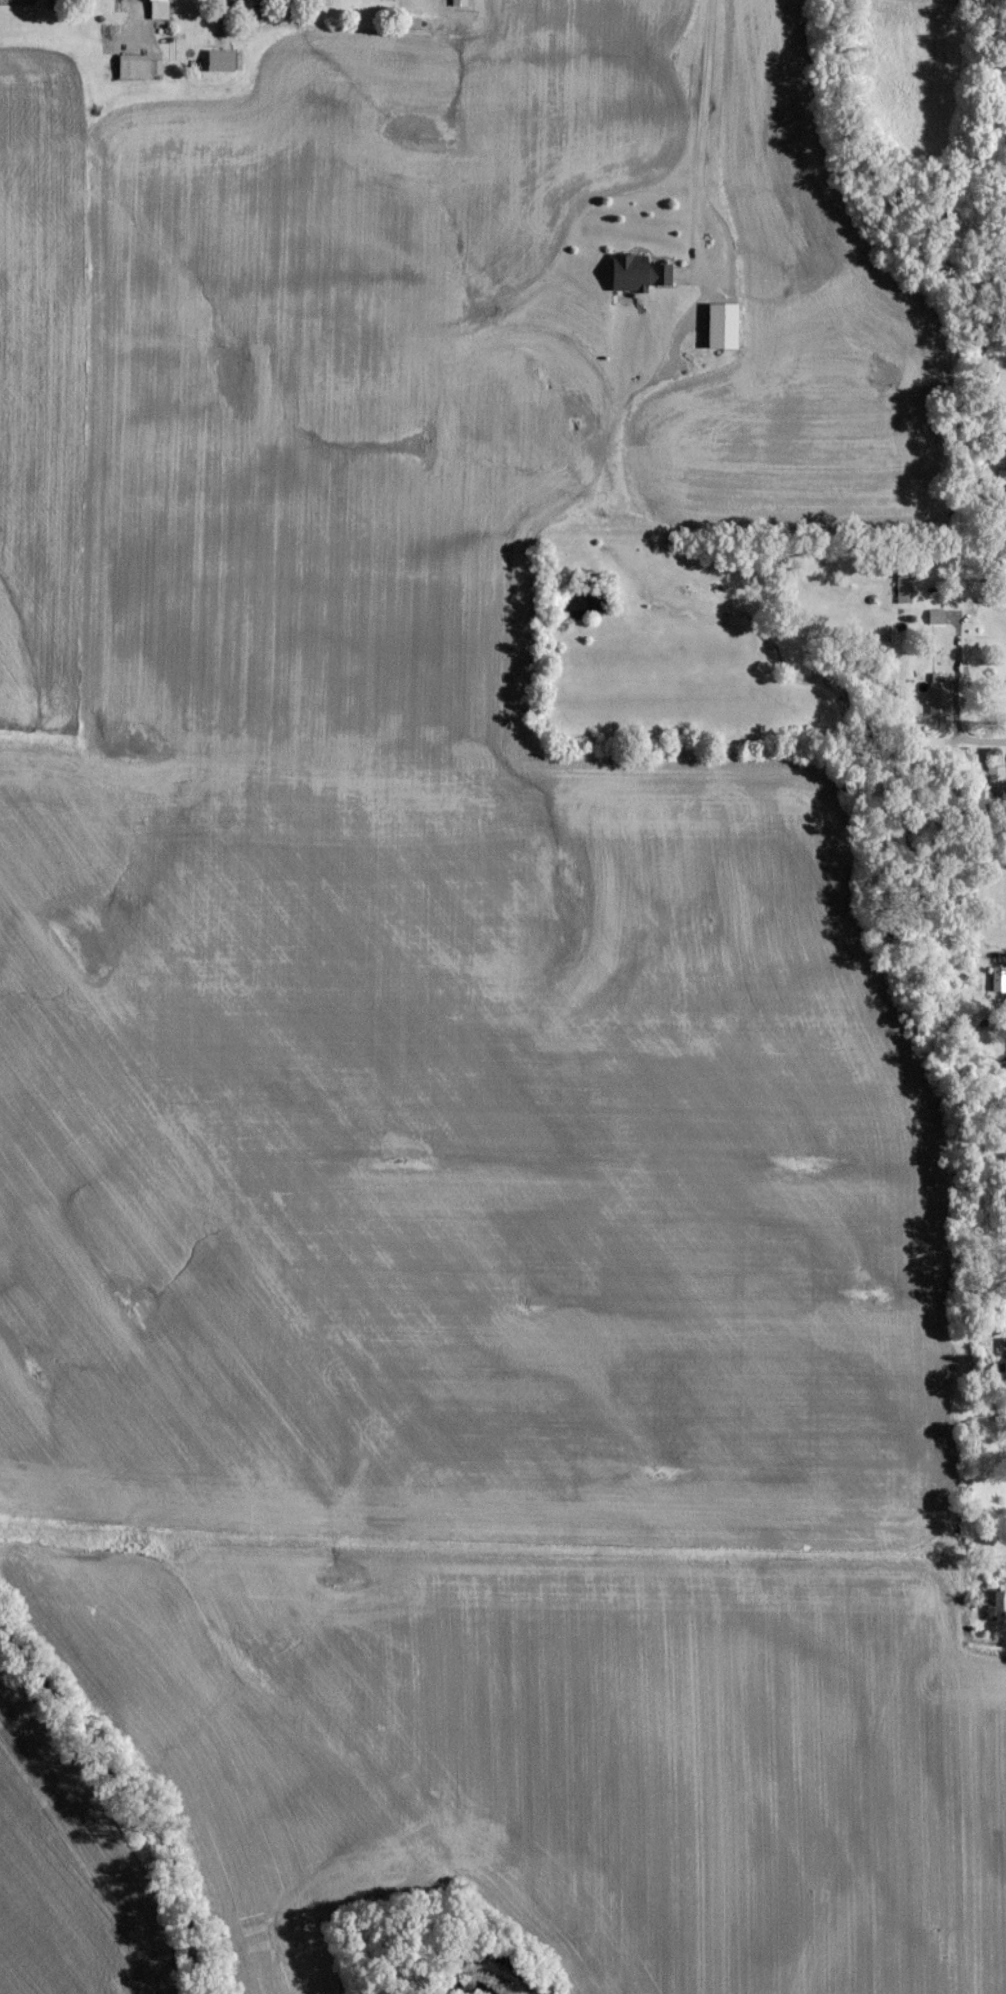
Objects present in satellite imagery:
building: (458, 2)
building: (156, 13)
building: (131, 74)
building: (634, 280)
building: (718, 333)
building: (934, 624)
building: (937, 701)
road: (977, 741)
building: (995, 790)
building: (1004, 1014)
building: (1002, 1371)
building: (994, 1610)
road: (990, 1647)

